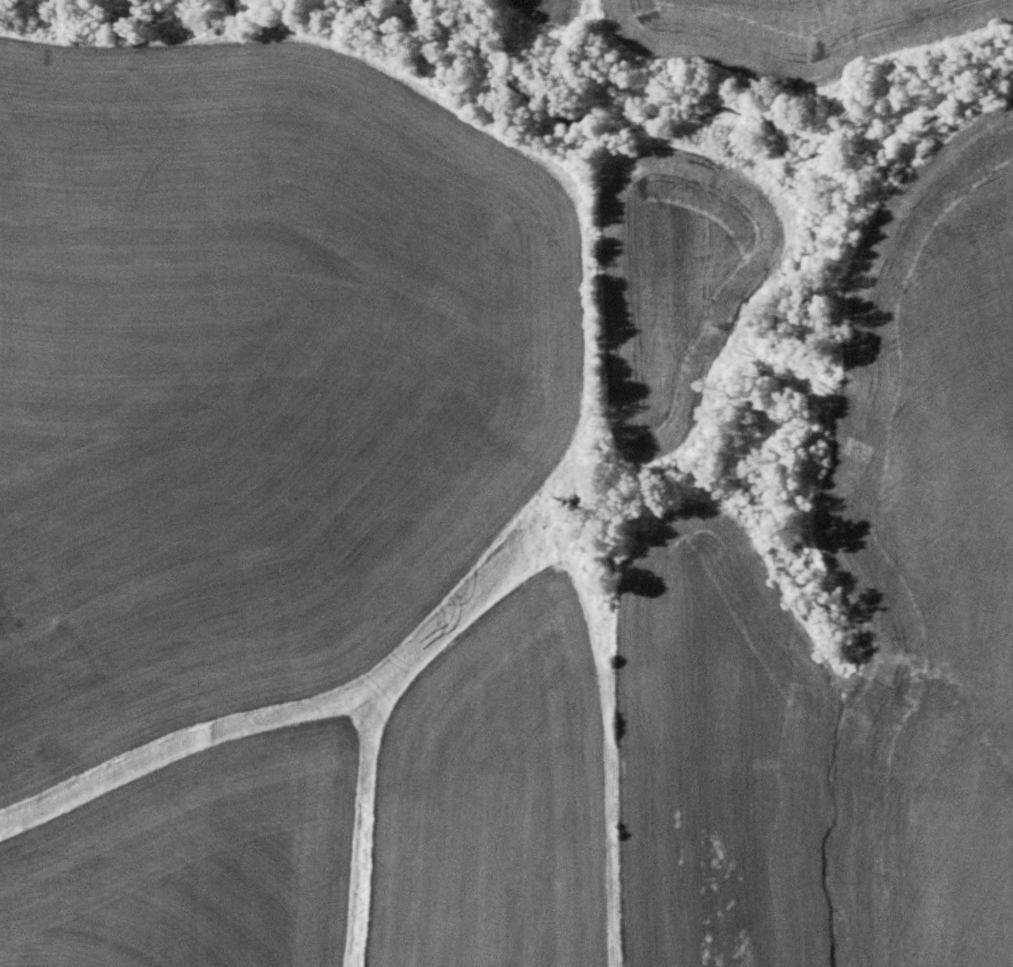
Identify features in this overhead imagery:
building: (21, 761)

